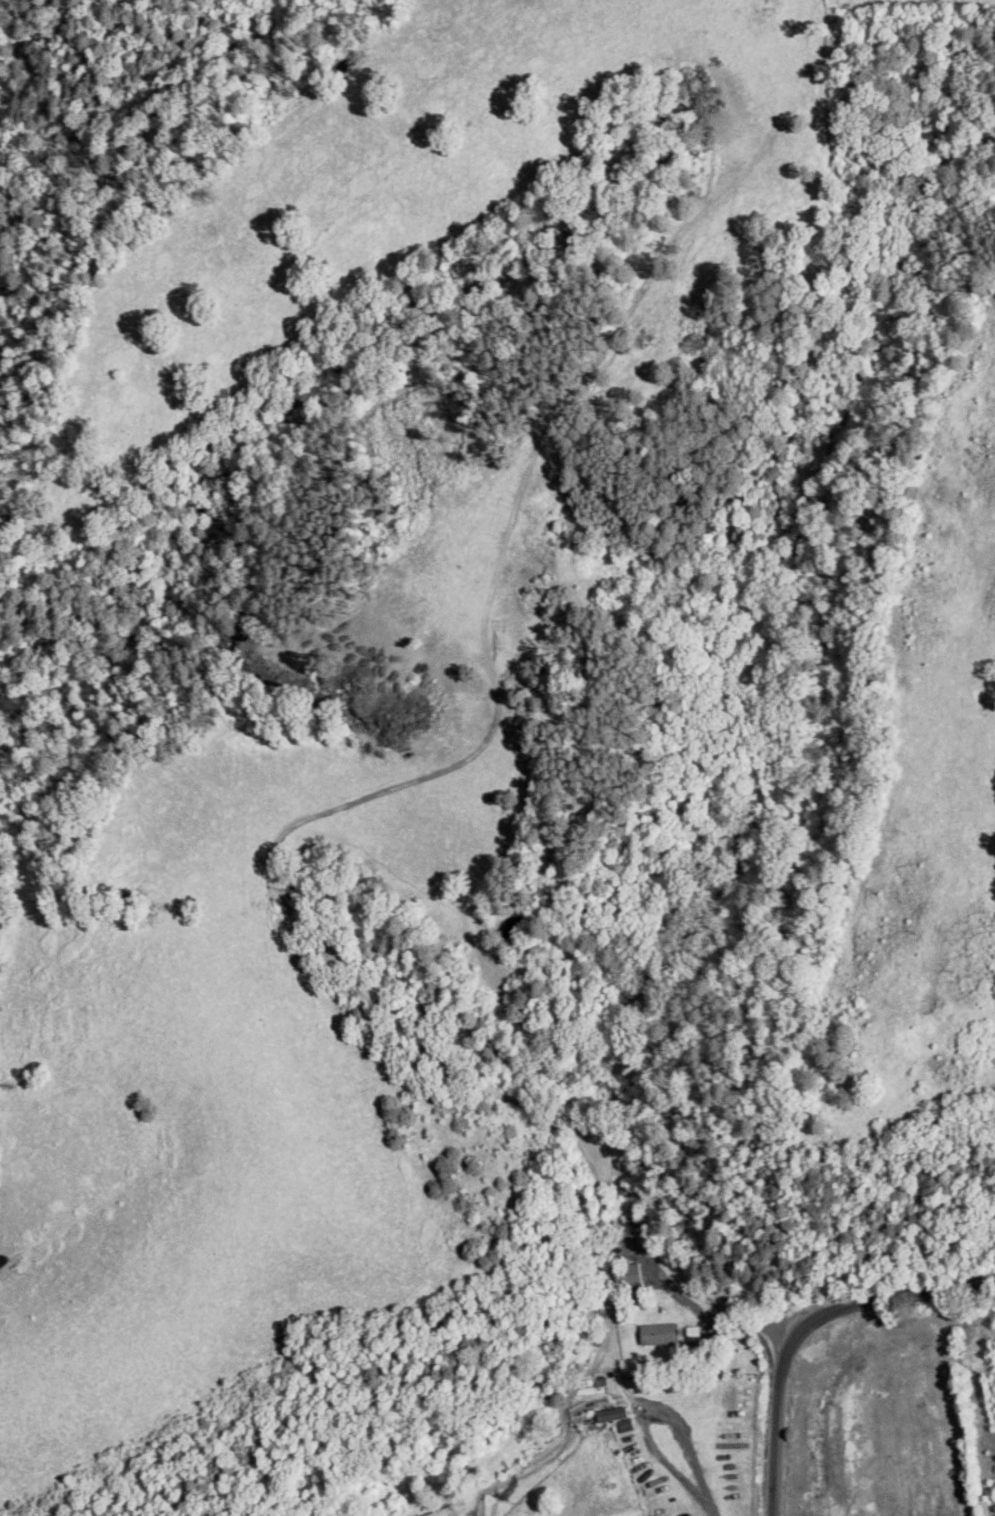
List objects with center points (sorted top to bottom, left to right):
building: (630, 1226)
building: (627, 1275)
road: (800, 1323)
building: (692, 1333)
building: (659, 1334)
road: (646, 1411)
building: (438, 1513)
road: (713, 1513)

